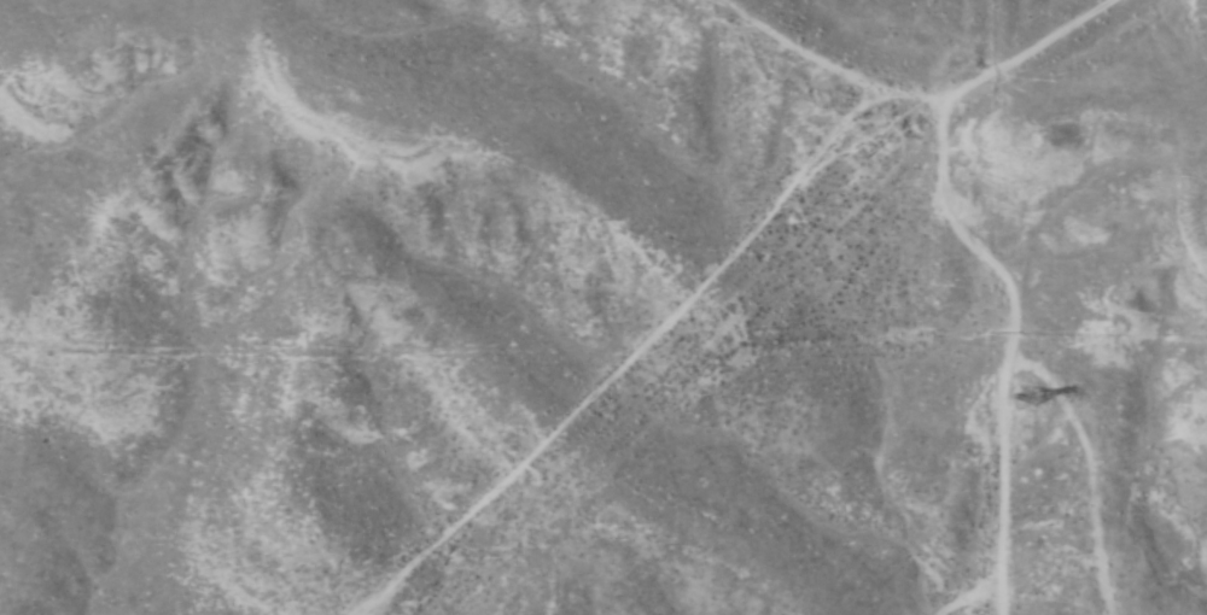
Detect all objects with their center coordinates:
road: (737, 263)
crop: (603, 307)
road: (1009, 363)
power tower: (1030, 399)
road: (999, 488)
road: (996, 601)

